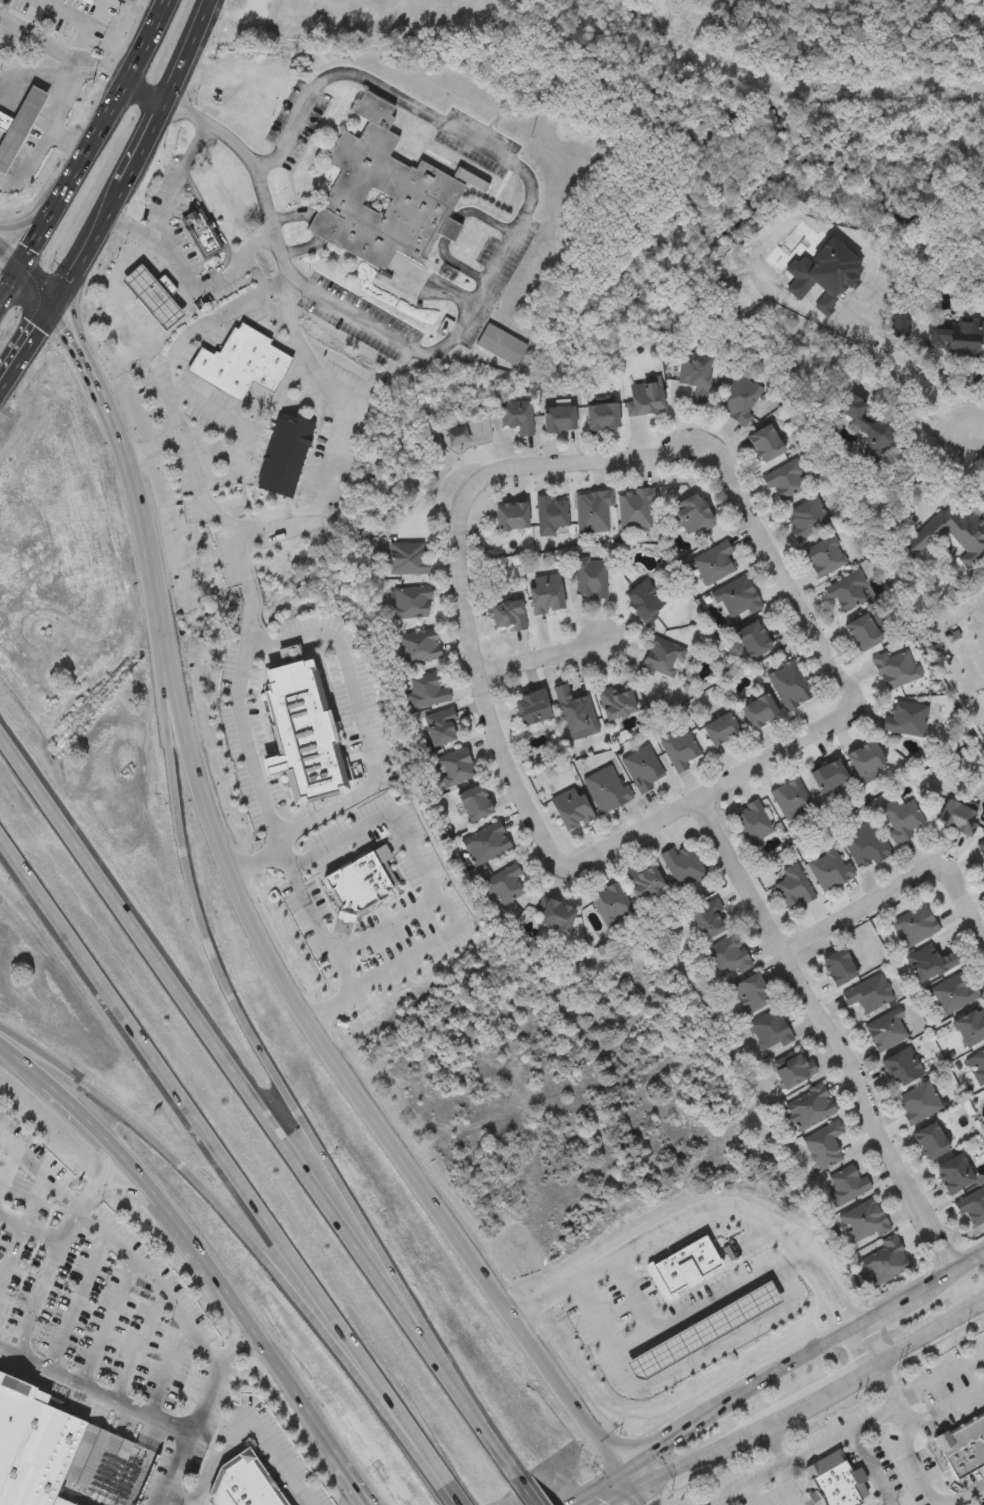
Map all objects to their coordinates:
building: (354, 0)
building: (86, 1)
road: (82, 55)
road: (32, 81)
road: (57, 115)
building: (8, 127)
building: (19, 129)
gas station: (19, 129)
road: (94, 135)
road: (134, 155)
road: (27, 167)
building: (475, 183)
road: (531, 188)
building: (383, 194)
road: (32, 218)
building: (201, 231)
road: (9, 255)
traffic signals: (19, 267)
road: (187, 280)
road: (9, 281)
building: (154, 294)
traffic signals: (51, 305)
road: (72, 309)
road: (212, 314)
building: (955, 337)
road: (25, 343)
building: (502, 346)
building: (241, 362)
road: (120, 364)
building: (695, 374)
road: (101, 392)
building: (644, 395)
building: (739, 396)
building: (516, 414)
building: (602, 414)
building: (559, 416)
road: (913, 416)
building: (869, 424)
building: (469, 432)
road: (243, 434)
road: (974, 439)
building: (765, 441)
road: (154, 450)
building: (285, 454)
road: (541, 473)
building: (783, 477)
building: (634, 506)
building: (591, 509)
building: (692, 511)
building: (551, 513)
building: (511, 514)
building: (805, 515)
road: (283, 519)
building: (950, 534)
building: (824, 554)
building: (407, 556)
building: (250, 560)
building: (713, 560)
building: (589, 575)
road: (254, 586)
building: (846, 589)
building: (545, 591)
building: (735, 595)
building: (410, 599)
building: (644, 599)
building: (508, 613)
building: (863, 630)
road: (327, 632)
building: (752, 638)
building: (415, 644)
building: (660, 656)
road: (545, 664)
building: (895, 666)
building: (788, 684)
building: (424, 688)
building: (614, 701)
building: (572, 706)
building: (530, 707)
building: (759, 710)
building: (905, 717)
building: (440, 725)
building: (721, 728)
building: (300, 729)
building: (677, 747)
building: (865, 756)
building: (453, 765)
building: (641, 766)
building: (828, 773)
building: (604, 786)
building: (789, 797)
building: (473, 801)
building: (570, 806)
building: (957, 815)
building: (901, 817)
building: (751, 820)
building: (485, 841)
building: (864, 845)
building: (981, 845)
road: (428, 864)
building: (681, 864)
building: (828, 866)
building: (641, 879)
building: (361, 882)
building: (502, 882)
building: (791, 884)
road: (898, 893)
building: (609, 901)
building: (553, 913)
building: (707, 916)
building: (913, 923)
road: (395, 927)
road: (330, 933)
building: (724, 955)
building: (930, 960)
road: (219, 963)
building: (838, 964)
building: (953, 991)
building: (749, 992)
building: (867, 992)
building: (970, 1025)
building: (885, 1027)
building: (767, 1029)
road: (828, 1037)
road: (214, 1039)
road: (330, 1051)
road: (23, 1063)
building: (902, 1065)
building: (976, 1065)
building: (791, 1067)
building: (918, 1100)
road: (75, 1104)
building: (808, 1106)
building: (931, 1139)
building: (823, 1143)
road: (211, 1144)
road: (5, 1147)
road: (13, 1159)
road: (136, 1160)
road: (101, 1169)
building: (955, 1172)
road: (48, 1176)
building: (846, 1183)
road: (120, 1192)
road: (35, 1200)
building: (972, 1205)
road: (698, 1211)
road: (230, 1216)
building: (863, 1219)
road: (29, 1228)
road: (206, 1250)
road: (12, 1255)
building: (885, 1258)
building: (684, 1267)
road: (44, 1279)
road: (154, 1280)
road: (734, 1292)
road: (77, 1303)
road: (109, 1325)
building: (703, 1331)
gas station: (703, 1331)
road: (233, 1336)
road: (637, 1344)
road: (867, 1345)
road: (140, 1347)
road: (714, 1348)
road: (242, 1351)
road: (800, 1359)
road: (169, 1371)
road: (941, 1379)
road: (296, 1385)
road: (811, 1400)
road: (128, 1406)
road: (892, 1406)
road: (945, 1406)
building: (983, 1408)
road: (475, 1409)
road: (248, 1417)
building: (34, 1445)
road: (775, 1445)
building: (963, 1445)
road: (910, 1457)
road: (439, 1463)
road: (781, 1466)
road: (869, 1468)
road: (173, 1469)
traffic signals: (623, 1474)
building: (237, 1480)
building: (834, 1481)
road: (361, 1483)
road: (785, 1487)
road: (595, 1489)
road: (531, 1490)
traffic signals: (634, 1490)
road: (178, 1494)
building: (254, 1494)
road: (461, 1494)
road: (748, 1496)
road: (621, 1497)
road: (966, 1498)
building: (274, 1501)
building: (982, 1504)

